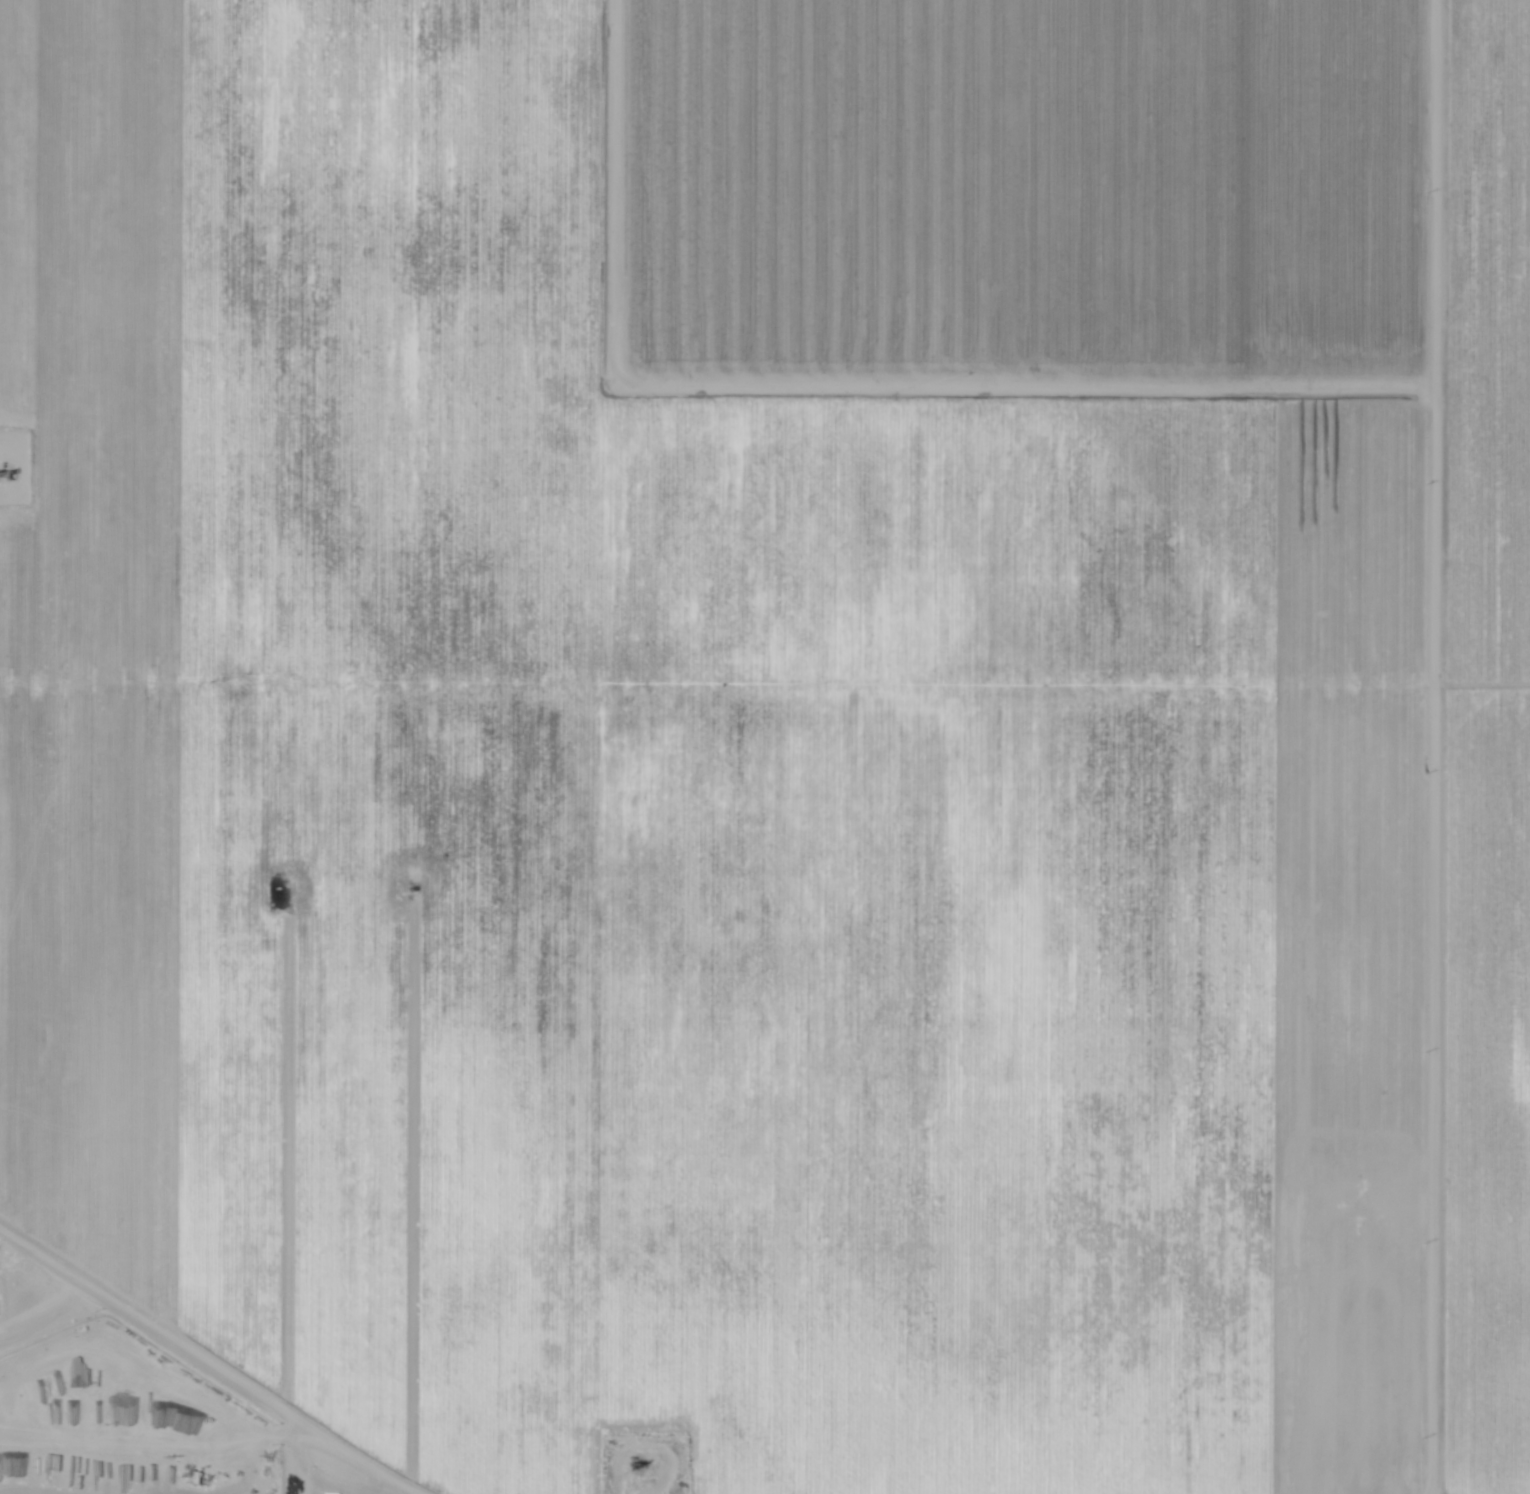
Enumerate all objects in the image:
road: (1433, 434)
crop: (765, 747)
road: (1429, 1181)
road: (265, 1442)

